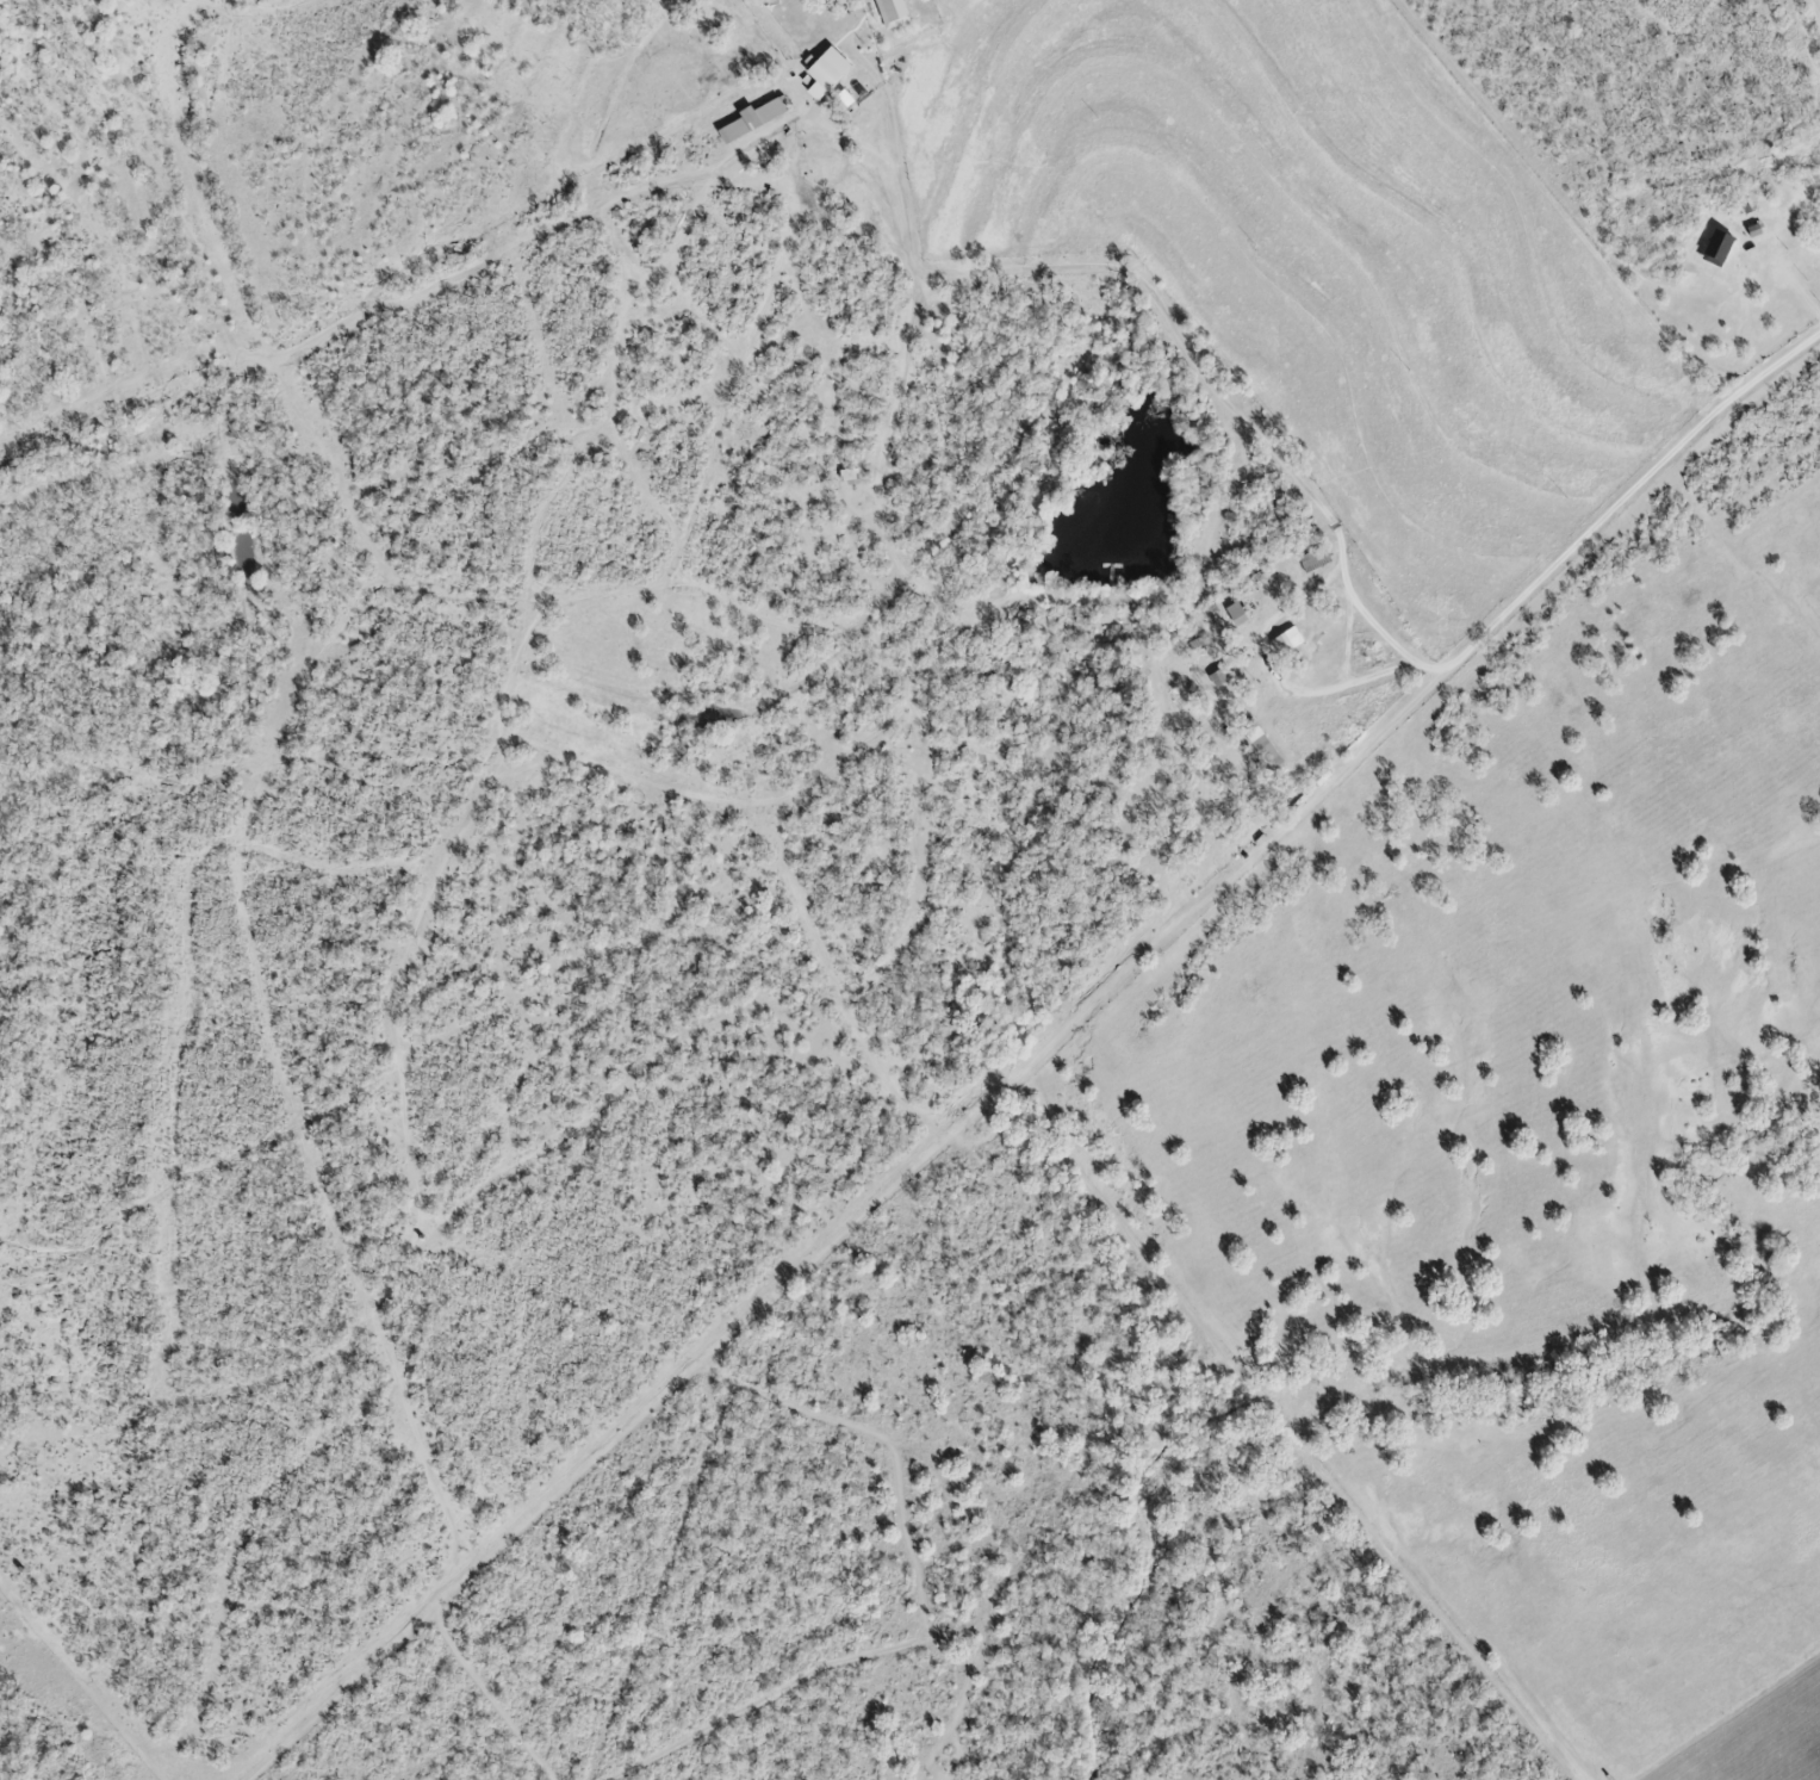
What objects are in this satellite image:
building: (893, 13)
building: (826, 75)
road: (1333, 522)
building: (1316, 563)
building: (1236, 615)
road: (1348, 643)
building: (1286, 644)
road: (1274, 672)
building: (1266, 755)

